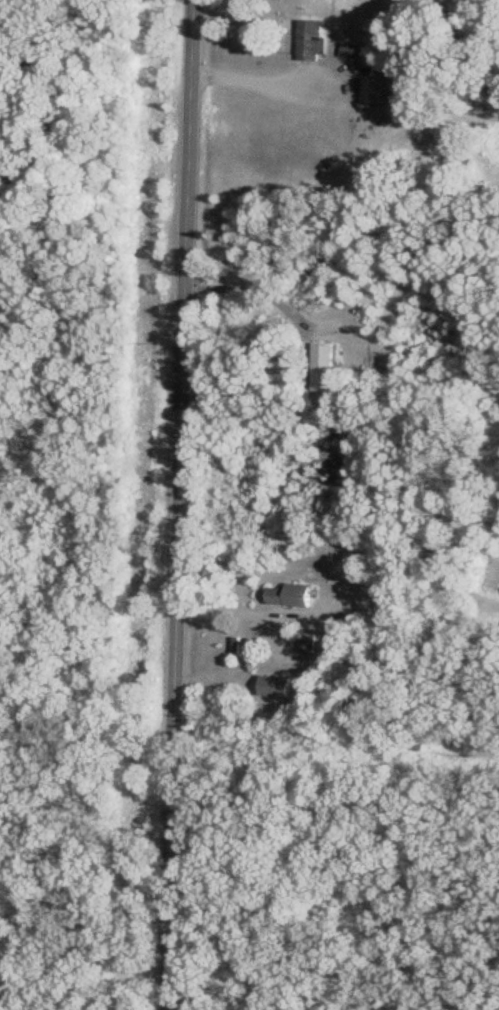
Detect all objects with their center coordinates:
building: (309, 40)
building: (376, 90)
road: (171, 505)
building: (284, 596)
building: (273, 686)

